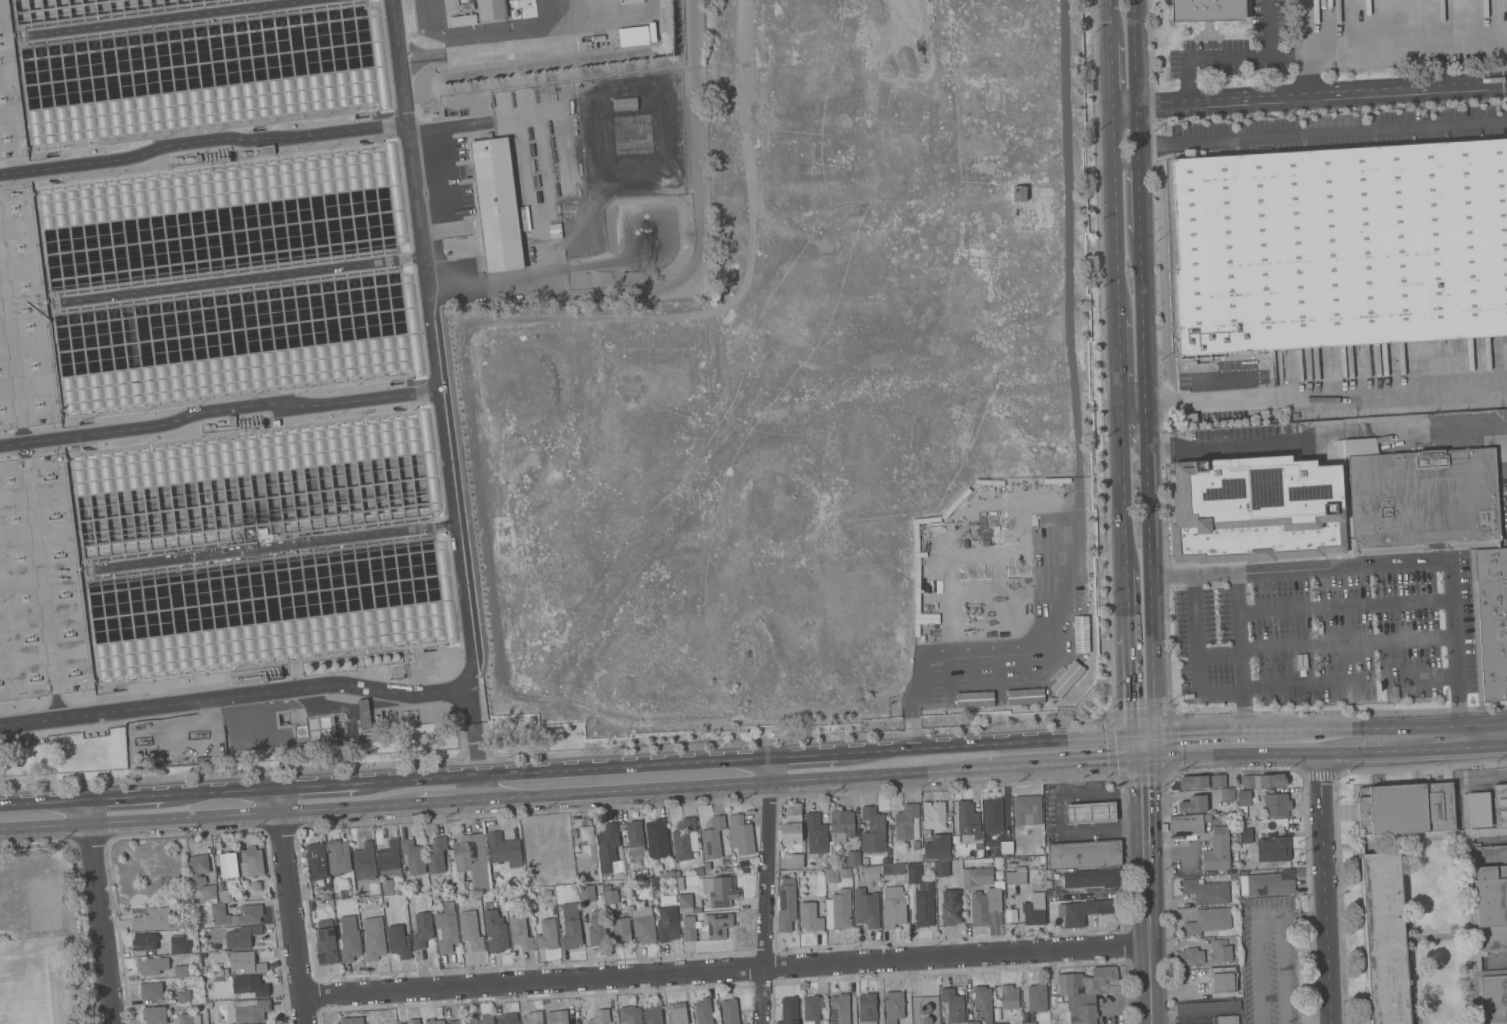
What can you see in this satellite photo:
building: (1208, 10)
building: (478, 11)
road: (1110, 22)
building: (637, 36)
road: (1389, 47)
road: (1505, 49)
road: (1232, 57)
road: (1112, 74)
road: (1305, 75)
road: (1309, 95)
building: (625, 104)
road: (1322, 131)
road: (203, 141)
building: (264, 150)
road: (522, 151)
road: (1126, 169)
building: (1019, 192)
building: (497, 204)
road: (1115, 211)
building: (1341, 246)
road: (1068, 259)
road: (692, 270)
wastewater plant: (295, 338)
road: (1120, 357)
road: (1144, 366)
road: (437, 399)
road: (1313, 403)
road: (217, 408)
road: (1307, 439)
building: (1423, 500)
building: (1256, 509)
building: (994, 511)
road: (1125, 514)
road: (1074, 537)
road: (1388, 565)
road: (1059, 612)
building: (1490, 620)
building: (1080, 634)
road: (975, 647)
road: (1240, 652)
road: (1218, 653)
road: (1196, 654)
road: (915, 673)
building: (1066, 678)
road: (1130, 685)
road: (235, 695)
building: (1024, 696)
building: (364, 714)
road: (910, 723)
road: (1344, 728)
road: (1224, 731)
traffic signals: (1154, 734)
road: (1143, 735)
traffic signals: (1132, 736)
road: (1449, 737)
road: (984, 744)
road: (1149, 747)
road: (1138, 748)
road: (1357, 752)
road: (804, 755)
road: (1231, 755)
traffic signals: (1144, 760)
road: (1064, 765)
road: (564, 769)
road: (1236, 770)
road: (877, 777)
road: (1305, 777)
road: (1320, 777)
road: (1335, 777)
road: (1096, 778)
building: (1219, 780)
building: (1263, 780)
building: (1194, 781)
road: (320, 785)
road: (627, 790)
road: (221, 791)
road: (1101, 792)
building: (1227, 794)
road: (126, 796)
building: (1244, 798)
road: (281, 799)
road: (45, 801)
road: (451, 801)
building: (1193, 804)
building: (1277, 804)
building: (1500, 804)
road: (350, 806)
road: (777, 806)
building: (1242, 808)
building: (1406, 808)
building: (1027, 809)
building: (1476, 809)
road: (90, 810)
building: (1090, 812)
road: (236, 814)
building: (934, 814)
building: (967, 814)
building: (993, 814)
road: (1335, 814)
building: (1243, 815)
building: (1223, 818)
road: (140, 820)
building: (908, 822)
building: (792, 823)
building: (1188, 824)
building: (1243, 824)
building: (842, 825)
road: (47, 826)
road: (1, 829)
building: (1232, 829)
building: (873, 830)
road: (1072, 832)
building: (816, 833)
building: (926, 833)
building: (633, 834)
building: (742, 834)
building: (1246, 835)
building: (657, 837)
building: (713, 837)
building: (685, 840)
building: (916, 845)
building: (608, 846)
building: (938, 846)
building: (978, 846)
building: (1006, 847)
building: (504, 849)
building: (1274, 849)
building: (1217, 850)
building: (888, 851)
building: (586, 852)
road: (1146, 852)
building: (437, 854)
building: (1084, 854)
building: (338, 856)
building: (413, 856)
building: (853, 858)
building: (389, 860)
building: (796, 860)
building: (886, 860)
building: (251, 861)
building: (316, 861)
building: (364, 861)
building: (469, 861)
building: (865, 861)
building: (228, 864)
building: (707, 866)
building: (931, 867)
building: (895, 868)
building: (942, 868)
building: (699, 870)
building: (677, 872)
building: (844, 872)
building: (872, 872)
building: (668, 873)
building: (800, 873)
building: (831, 875)
building: (1015, 876)
building: (202, 877)
building: (977, 877)
building: (1087, 877)
building: (1232, 877)
building: (656, 882)
building: (681, 882)
building: (643, 883)
building: (1269, 884)
building: (387, 885)
building: (607, 887)
road: (1324, 889)
building: (718, 890)
road: (765, 890)
building: (1206, 891)
building: (499, 892)
building: (545, 892)
building: (586, 892)
building: (224, 895)
building: (611, 896)
building: (1491, 896)
building: (922, 897)
building: (311, 903)
building: (685, 903)
building: (786, 904)
building: (1472, 904)
building: (987, 905)
building: (893, 906)
building: (950, 907)
building: (866, 908)
building: (1035, 908)
building: (697, 909)
building: (839, 909)
park: (46, 910)
building: (1086, 910)
building: (251, 914)
road: (296, 917)
building: (810, 917)
building: (668, 918)
building: (152, 919)
building: (1208, 921)
road: (104, 923)
building: (643, 924)
building: (717, 925)
building: (571, 926)
building: (446, 928)
building: (689, 928)
building: (423, 929)
building: (597, 929)
road: (1124, 929)
building: (471, 930)
building: (621, 930)
building: (496, 931)
building: (521, 931)
road: (1254, 933)
building: (547, 934)
building: (242, 937)
building: (374, 938)
building: (1385, 938)
park: (41, 939)
building: (349, 939)
building: (144, 941)
building: (398, 941)
building: (180, 944)
road: (1124, 944)
building: (326, 945)
building: (214, 946)
building: (1220, 951)
building: (196, 957)
building: (1190, 957)
parking lot: (1275, 959)
building: (244, 963)
building: (152, 965)
road: (726, 969)
road: (1282, 969)
building: (181, 971)
building: (222, 972)
road: (928, 973)
building: (1222, 980)
road: (1149, 984)
park: (28, 985)
building: (249, 986)
building: (151, 990)
building: (1087, 991)
road: (1127, 991)
building: (184, 995)
building: (1494, 995)
building: (1009, 996)
building: (1037, 996)
building: (983, 1002)
building: (209, 1005)
building: (953, 1005)
building: (894, 1006)
building: (1204, 1007)
building: (812, 1008)
building: (926, 1008)
building: (251, 1009)
building: (839, 1009)
building: (867, 1009)
building: (789, 1010)
building: (729, 1011)
building: (703, 1012)
building: (678, 1013)
building: (630, 1014)
building: (653, 1014)
building: (154, 1015)
building: (557, 1017)
building: (600, 1017)
building: (507, 1018)
building: (532, 1018)
building: (189, 1019)
building: (486, 1019)
building: (1225, 1019)
building: (351, 1020)
building: (927, 1020)
building: (434, 1021)
building: (459, 1021)
building: (407, 1022)
building: (973, 1022)
building: (1030, 1022)
building: (418, 1023)
building: (1000, 1023)

